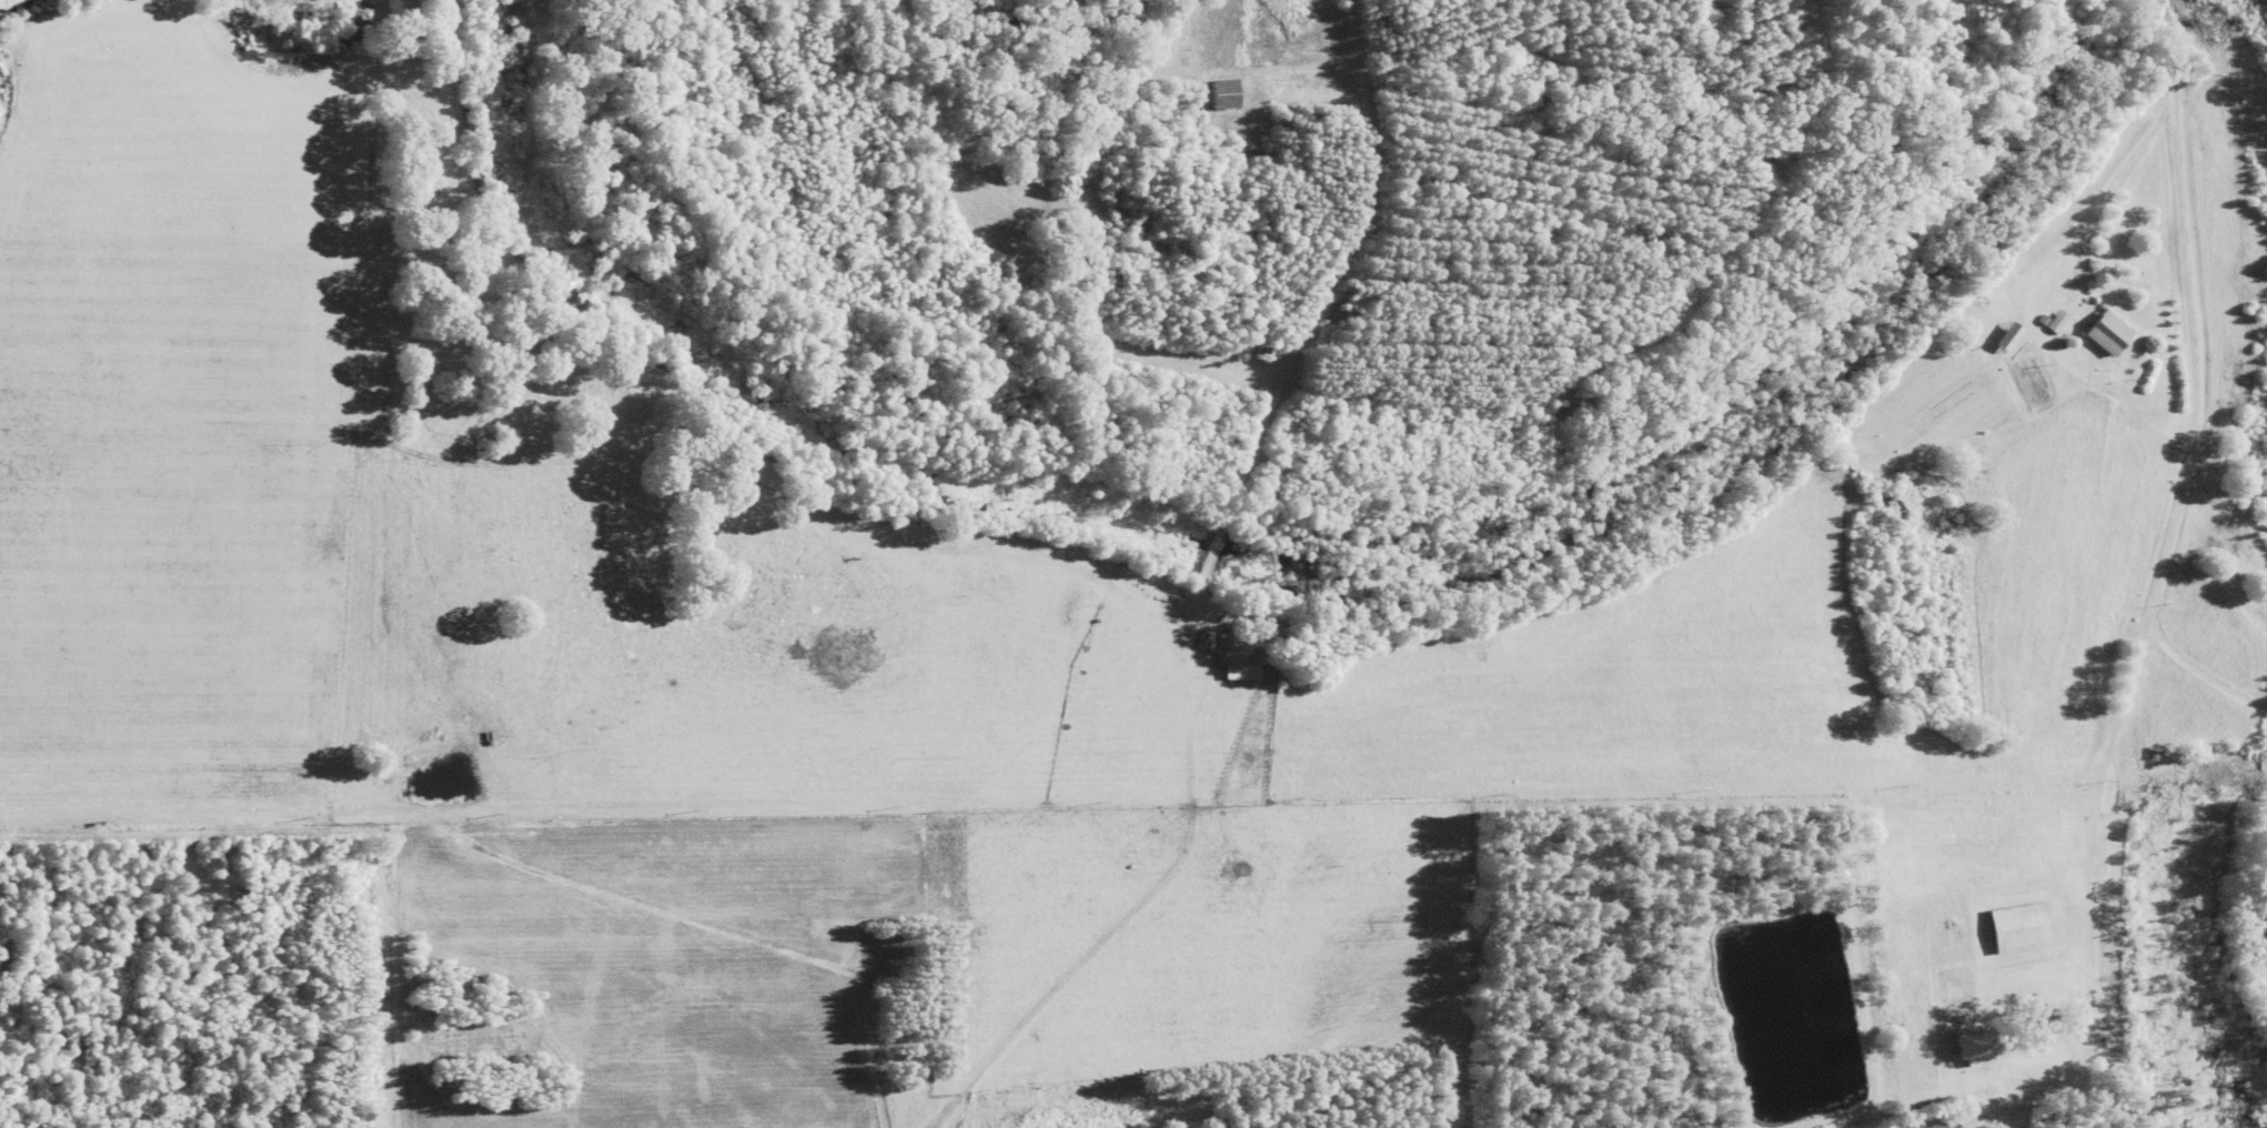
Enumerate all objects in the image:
building: (2106, 334)
building: (2008, 338)
road: (2156, 602)
building: (2017, 928)
building: (1920, 1121)

